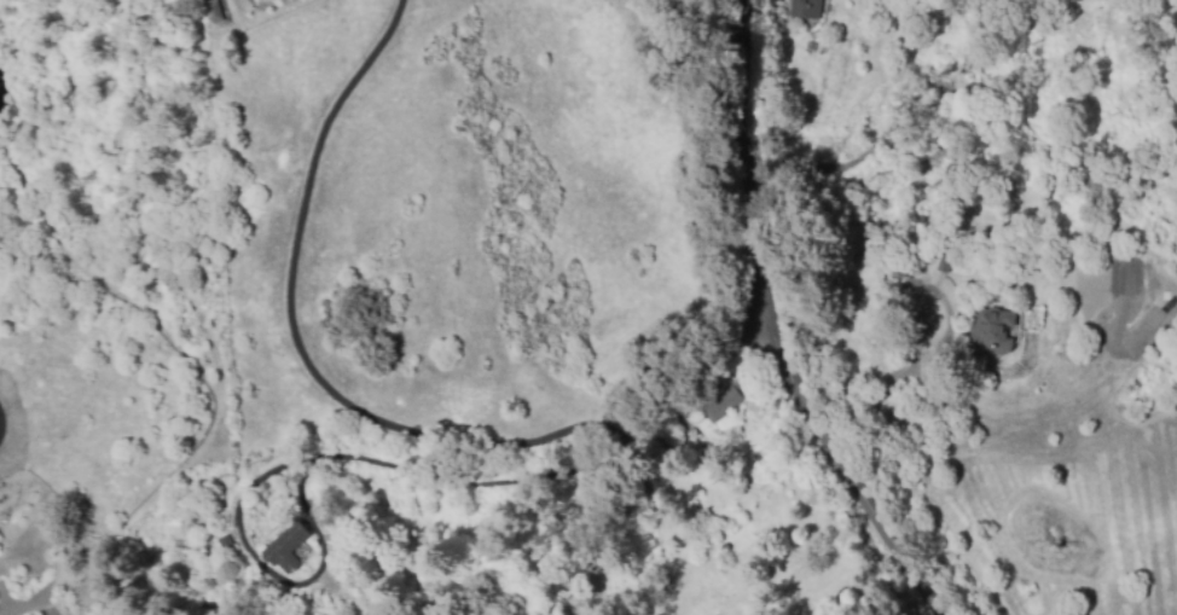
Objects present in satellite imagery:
building: (804, 8)
building: (214, 11)
building: (990, 329)
road: (761, 333)
building: (721, 402)
road: (343, 407)
building: (711, 454)
building: (0, 539)
building: (224, 543)
building: (285, 547)
road: (34, 610)

